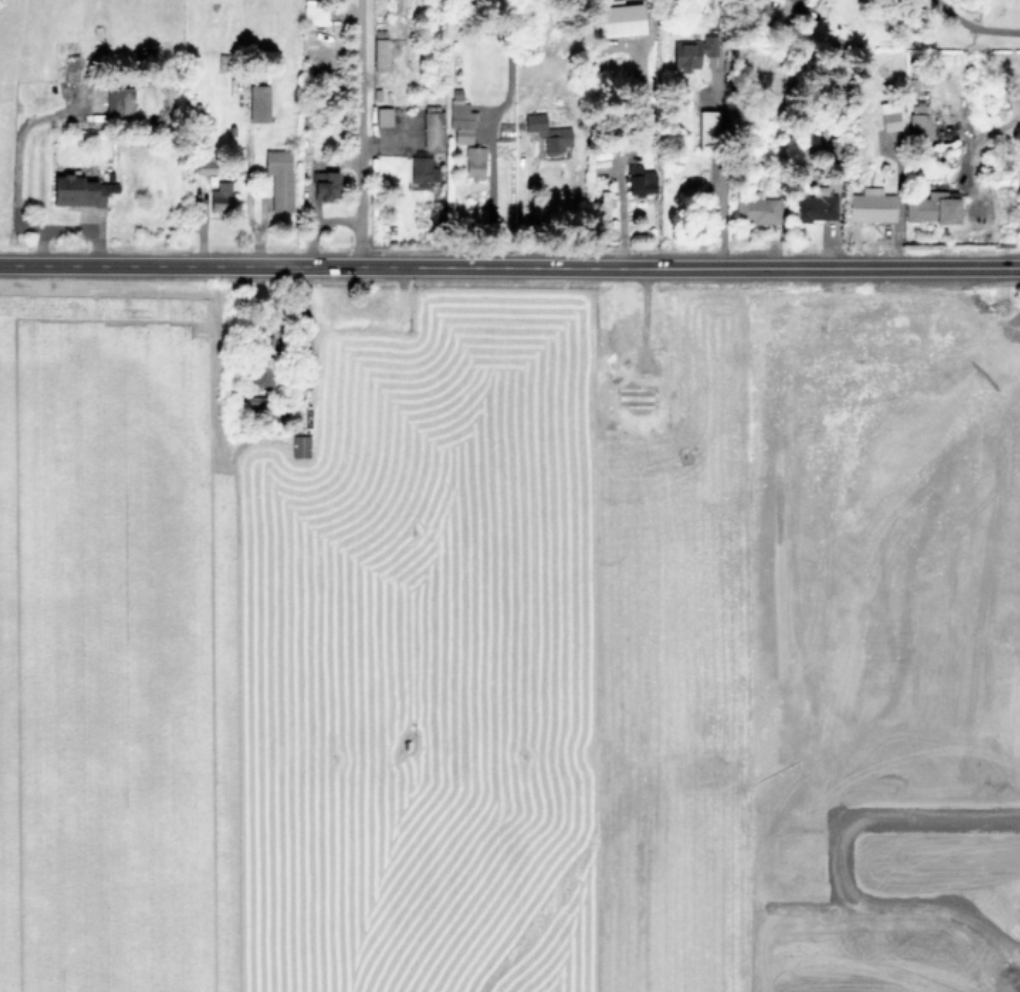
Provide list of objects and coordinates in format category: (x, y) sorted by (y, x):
building: (314, 13)
road: (973, 24)
building: (692, 52)
building: (379, 54)
building: (119, 103)
building: (258, 103)
building: (888, 115)
building: (383, 116)
building: (460, 117)
building: (432, 127)
building: (706, 128)
road: (357, 133)
building: (547, 133)
road: (980, 136)
building: (474, 161)
building: (205, 163)
building: (421, 171)
road: (724, 171)
building: (279, 178)
building: (639, 180)
building: (324, 185)
building: (79, 190)
road: (490, 191)
building: (220, 197)
building: (604, 198)
road: (526, 205)
building: (815, 205)
building: (871, 205)
building: (931, 206)
building: (755, 209)
road: (620, 216)
road: (510, 267)
building: (623, 341)
building: (262, 371)
building: (635, 399)
building: (253, 401)
building: (299, 446)
crop: (509, 634)
road: (930, 643)
road: (841, 713)
road: (884, 815)
road: (930, 991)

